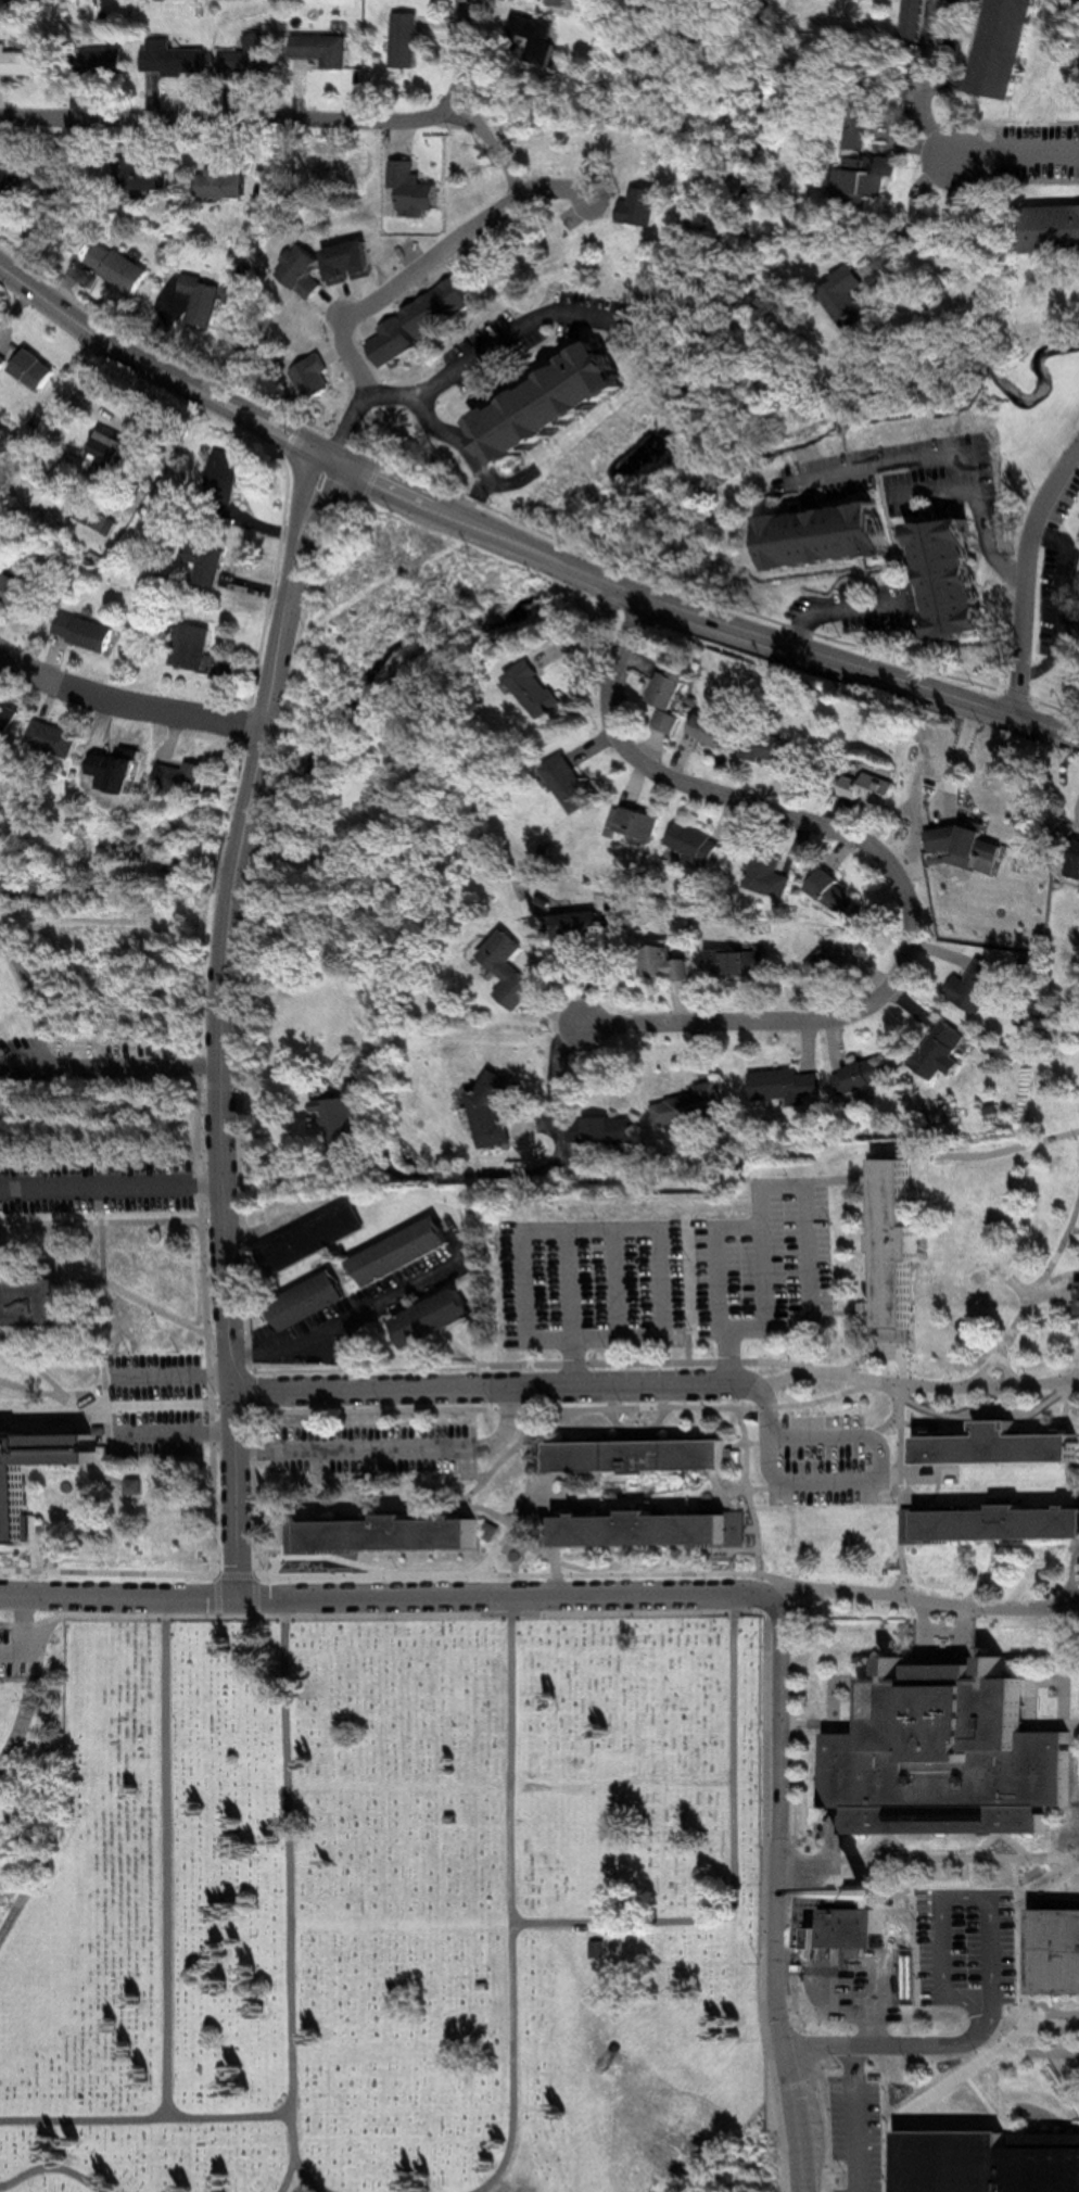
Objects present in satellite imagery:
building: (916, 20)
building: (538, 35)
building: (408, 42)
building: (1007, 47)
parking lot: (934, 49)
building: (327, 50)
building: (256, 55)
building: (176, 60)
building: (23, 62)
building: (101, 62)
road: (968, 68)
road: (927, 75)
road: (278, 121)
parking lot: (1029, 153)
road: (1008, 156)
building: (866, 169)
building: (145, 176)
building: (13, 185)
building: (226, 185)
building: (1055, 231)
building: (122, 267)
building: (430, 296)
building: (851, 299)
building: (206, 300)
road: (479, 359)
building: (3, 363)
building: (38, 371)
building: (562, 404)
road: (473, 449)
building: (118, 451)
road: (902, 463)
building: (229, 478)
parking lot: (903, 479)
road: (983, 502)
road: (301, 508)
road: (317, 516)
building: (94, 518)
road: (1059, 520)
building: (832, 537)
road: (520, 542)
building: (211, 566)
road: (1024, 575)
road: (1066, 576)
building: (956, 578)
road: (1076, 585)
building: (17, 590)
road: (703, 597)
parking lot: (1057, 599)
parking lot: (859, 609)
road: (846, 612)
building: (1076, 619)
building: (87, 632)
building: (193, 647)
road: (1042, 669)
building: (542, 688)
building: (673, 698)
road: (130, 707)
road: (275, 709)
building: (11, 714)
building: (715, 731)
building: (61, 739)
building: (775, 749)
building: (122, 760)
road: (659, 771)
building: (192, 776)
building: (576, 784)
building: (872, 789)
building: (643, 822)
building: (699, 842)
building: (970, 846)
road: (250, 857)
building: (775, 874)
building: (837, 891)
building: (584, 925)
building: (835, 958)
building: (744, 962)
building: (670, 963)
building: (513, 970)
building: (976, 986)
road: (834, 1016)
building: (940, 1051)
road: (113, 1066)
building: (868, 1074)
building: (789, 1084)
building: (691, 1106)
building: (498, 1111)
building: (351, 1118)
building: (606, 1130)
road: (1000, 1150)
road: (113, 1183)
parking lot: (100, 1187)
road: (103, 1222)
road: (1075, 1230)
road: (227, 1232)
road: (268, 1234)
building: (319, 1240)
building: (900, 1241)
building: (408, 1252)
parking lot: (772, 1263)
road: (37, 1277)
parking lot: (595, 1283)
road: (617, 1284)
road: (811, 1284)
road: (116, 1285)
road: (1033, 1298)
building: (317, 1302)
building: (38, 1303)
road: (572, 1310)
building: (437, 1318)
road: (210, 1319)
road: (348, 1325)
road: (668, 1339)
road: (894, 1341)
road: (465, 1347)
road: (880, 1356)
road: (729, 1357)
road: (647, 1364)
road: (43, 1369)
road: (358, 1369)
road: (175, 1378)
road: (114, 1379)
road: (1078, 1381)
road: (916, 1385)
road: (496, 1390)
road: (40, 1391)
road: (833, 1396)
parking lot: (160, 1403)
road: (110, 1406)
road: (761, 1407)
road: (54, 1410)
road: (771, 1410)
road: (424, 1411)
road: (992, 1418)
road: (177, 1434)
road: (115, 1436)
building: (1004, 1446)
road: (394, 1449)
parking lot: (369, 1450)
building: (646, 1457)
road: (505, 1459)
road: (530, 1459)
parking lot: (823, 1459)
road: (69, 1466)
road: (901, 1469)
road: (115, 1478)
road: (747, 1481)
road: (881, 1484)
building: (15, 1502)
road: (560, 1502)
road: (508, 1522)
building: (1004, 1523)
building: (651, 1530)
building: (399, 1534)
road: (71, 1548)
road: (553, 1558)
road: (110, 1572)
road: (988, 1572)
road: (229, 1573)
road: (255, 1573)
road: (517, 1573)
road: (776, 1580)
road: (783, 1594)
road: (1067, 1595)
road: (385, 1599)
road: (936, 1600)
road: (989, 1606)
road: (684, 1611)
road: (13, 1625)
road: (25, 1635)
parking lot: (12, 1652)
road: (31, 1652)
road: (18, 1677)
road: (31, 1701)
building: (953, 1756)
road: (786, 1824)
road: (1007, 1832)
road: (11, 1835)
road: (891, 1835)
road: (27, 1857)
road: (168, 1858)
road: (932, 1859)
road: (739, 1863)
road: (980, 1877)
chimney: (883, 1895)
road: (972, 1898)
road: (515, 1903)
road: (292, 1904)
park: (390, 1906)
building: (860, 1924)
road: (1025, 1938)
parking lot: (972, 1947)
building: (604, 1951)
building: (1056, 1952)
road: (834, 1955)
parking lot: (858, 1984)
road: (1032, 2018)
road: (975, 2020)
road: (878, 2033)
road: (904, 2045)
road: (1045, 2053)
road: (1007, 2062)
road: (147, 2117)
road: (803, 2119)
building: (970, 2157)
road: (54, 2167)
road: (291, 2176)

